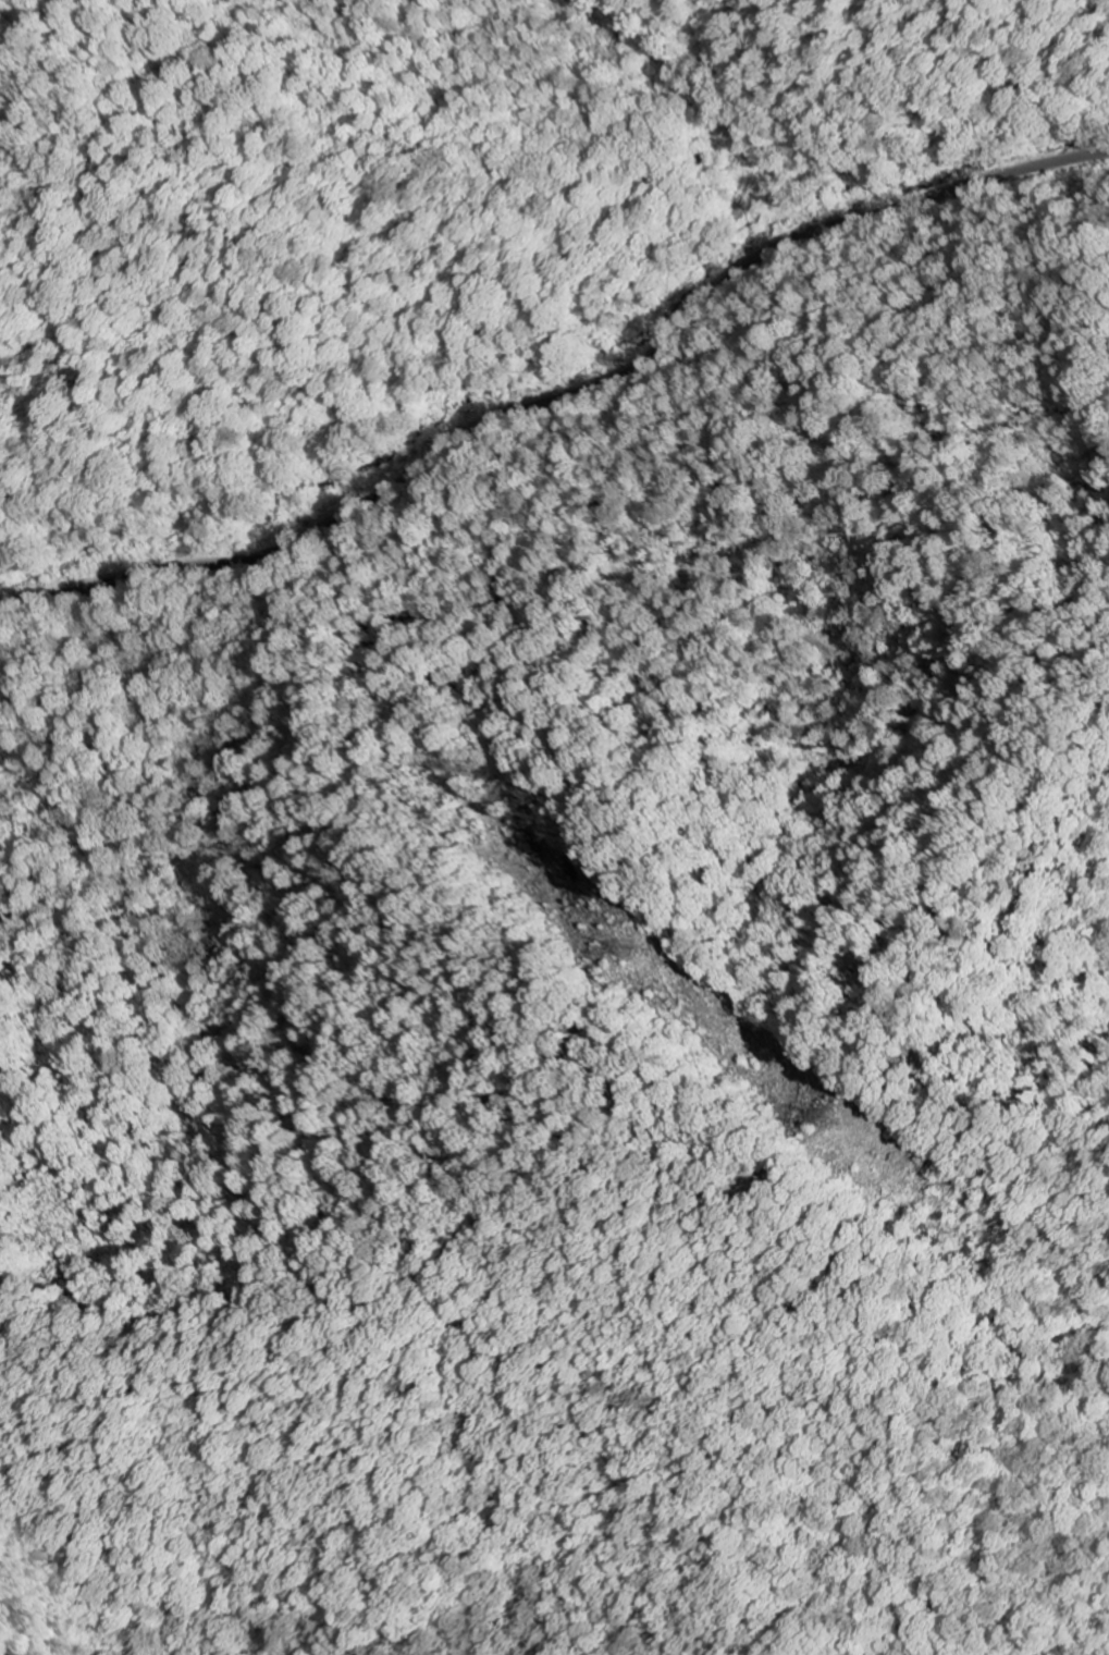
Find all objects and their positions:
road: (560, 399)

